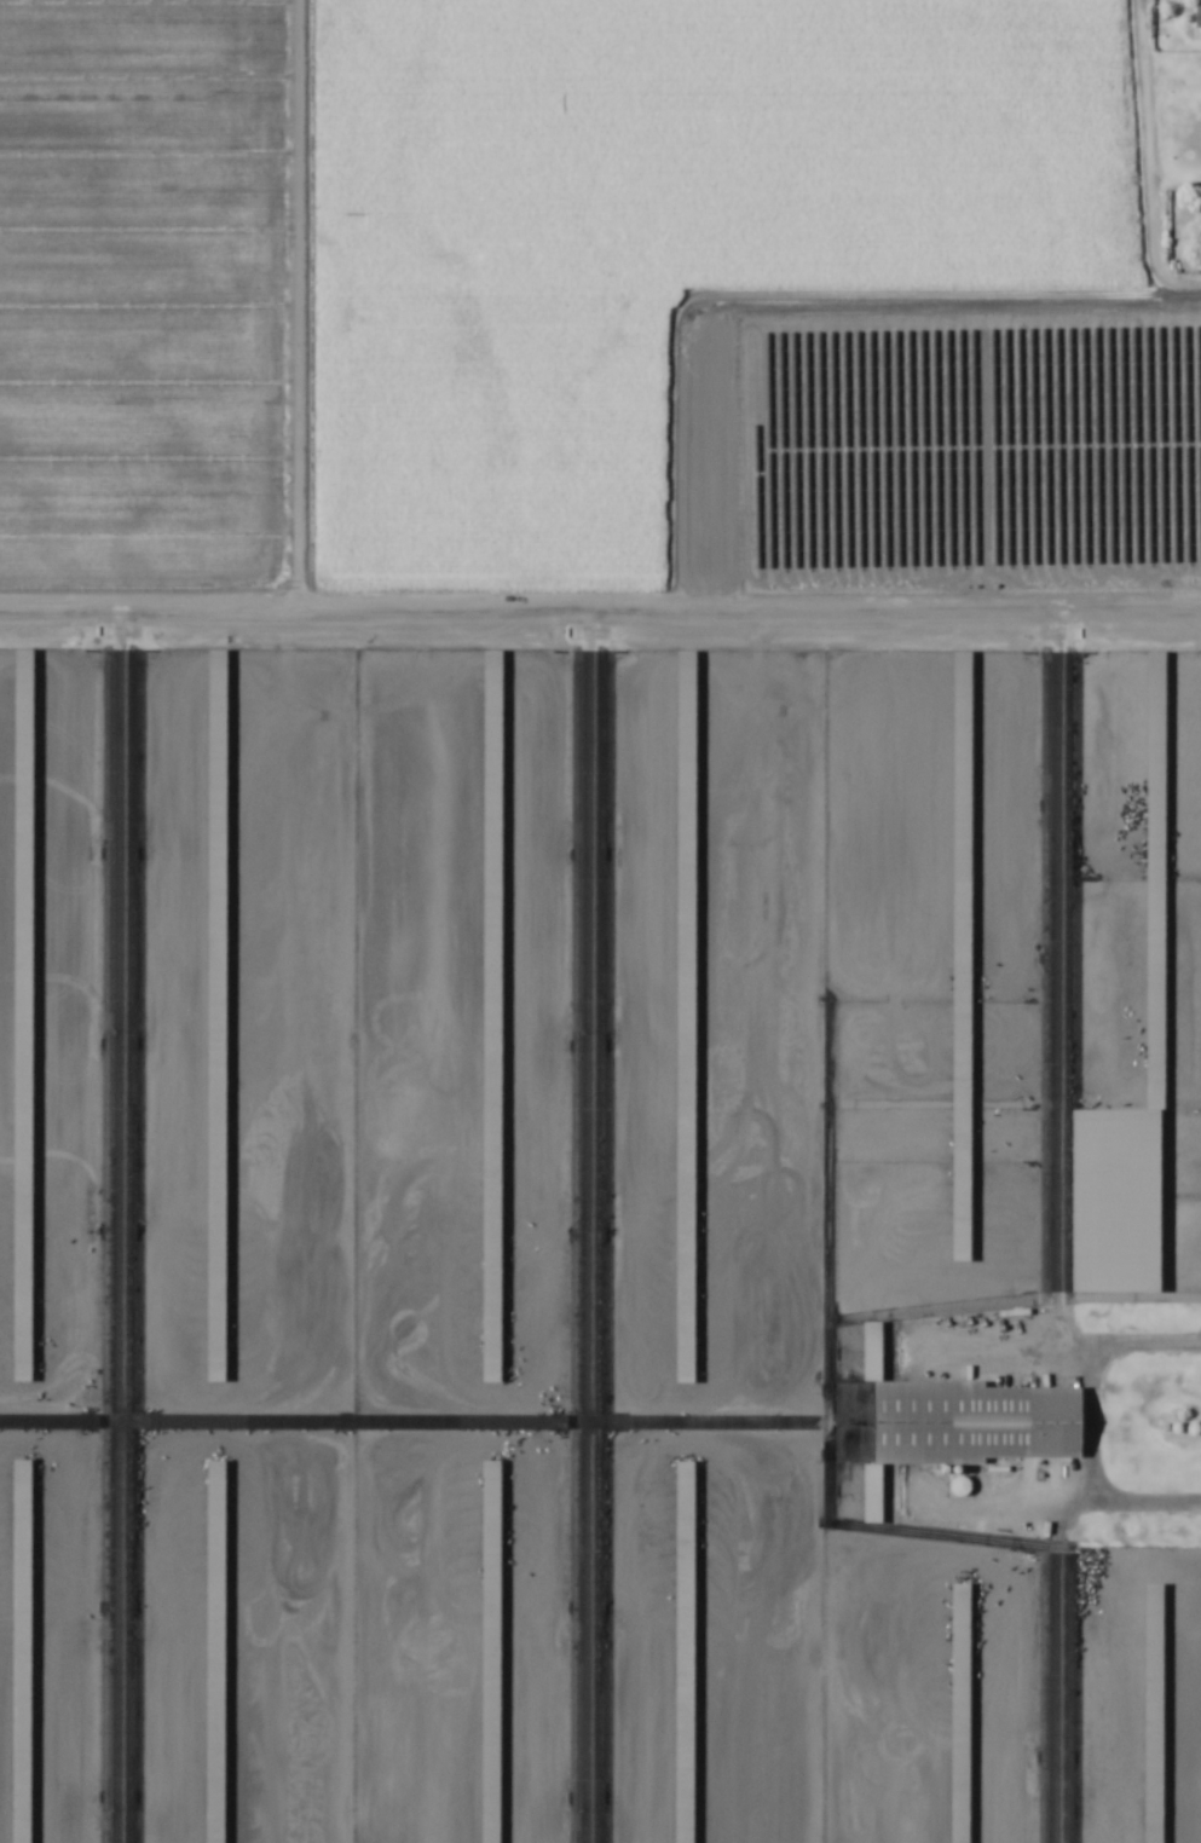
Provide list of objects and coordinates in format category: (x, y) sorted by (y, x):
building: (1196, 13)
building: (1200, 227)
building: (22, 701)
building: (215, 701)
building: (1154, 882)
road: (278, 921)
building: (960, 958)
building: (491, 1018)
building: (685, 1018)
building: (215, 1270)
building: (22, 1329)
building: (958, 1421)
building: (21, 1652)
building: (214, 1652)
building: (490, 1652)
building: (683, 1653)
building: (959, 1714)
building: (1153, 1714)

